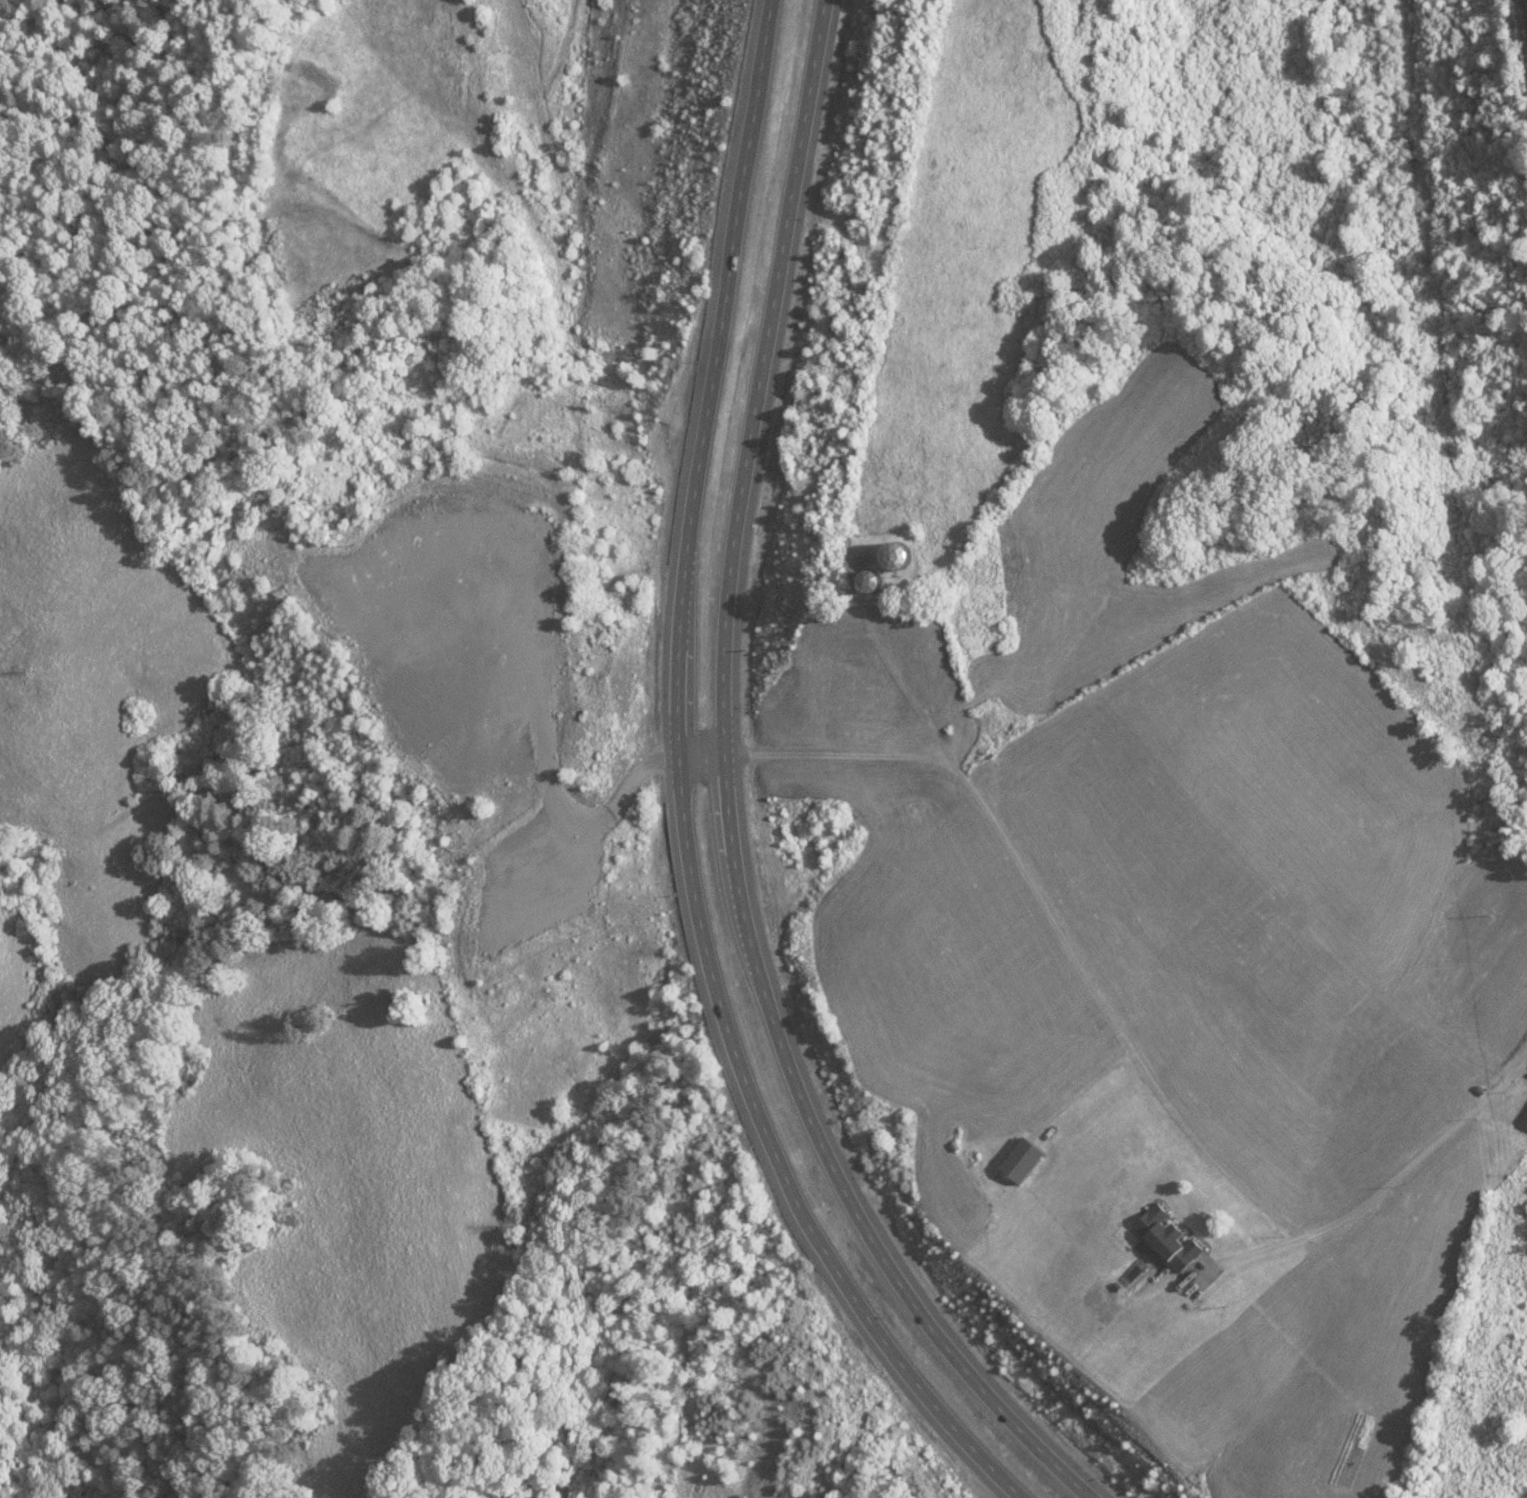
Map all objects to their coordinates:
road: (1523, 15)
building: (895, 561)
building: (872, 585)
building: (993, 719)
road: (681, 793)
road: (726, 798)
road: (1036, 900)
building: (186, 1083)
building: (1524, 1119)
road: (1387, 1183)
building: (992, 1184)
building: (1163, 1241)

